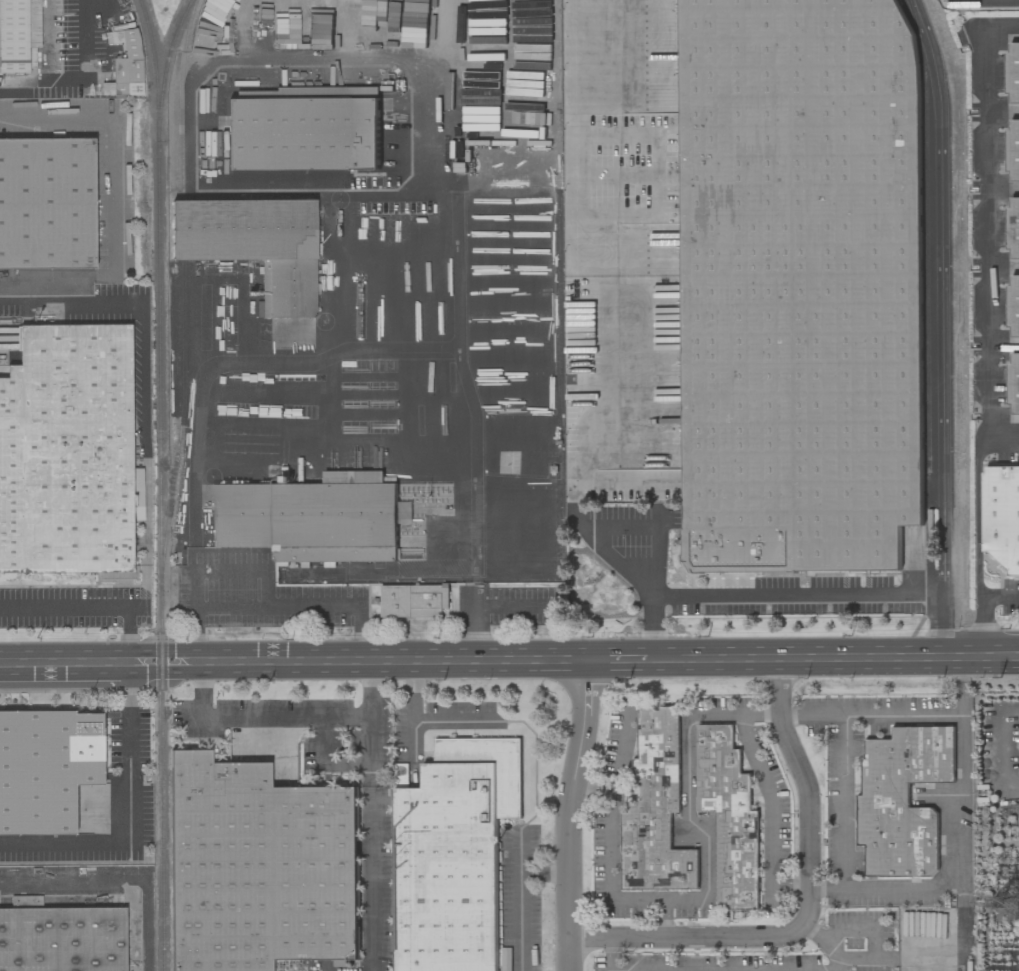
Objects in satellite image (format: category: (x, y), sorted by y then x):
building: (13, 36)
building: (128, 66)
railway: (165, 68)
railway: (154, 69)
building: (1013, 71)
road: (75, 75)
building: (304, 129)
road: (583, 138)
building: (1013, 151)
road: (289, 190)
road: (111, 198)
building: (47, 204)
building: (1013, 229)
railway: (925, 230)
road: (990, 230)
building: (255, 245)
railway: (183, 284)
building: (800, 285)
building: (1013, 307)
road: (941, 327)
building: (1014, 383)
road: (592, 390)
road: (144, 394)
building: (66, 457)
road: (632, 479)
road: (978, 515)
building: (1001, 515)
building: (310, 518)
road: (657, 549)
railway: (159, 555)
road: (602, 555)
road: (268, 582)
road: (765, 595)
building: (414, 601)
road: (88, 607)
road: (233, 609)
road: (983, 609)
road: (482, 620)
road: (830, 659)
road: (619, 660)
road: (365, 661)
road: (66, 663)
road: (287, 717)
building: (46, 769)
road: (773, 799)
building: (902, 800)
road: (690, 806)
building: (655, 809)
road: (571, 814)
road: (131, 815)
building: (729, 816)
road: (613, 849)
building: (453, 854)
building: (260, 870)
road: (114, 882)
road: (827, 892)
road: (866, 894)
road: (518, 899)
power tower: (1006, 906)
road: (812, 908)
building: (62, 939)
road: (829, 941)
road: (615, 953)
road: (931, 954)

